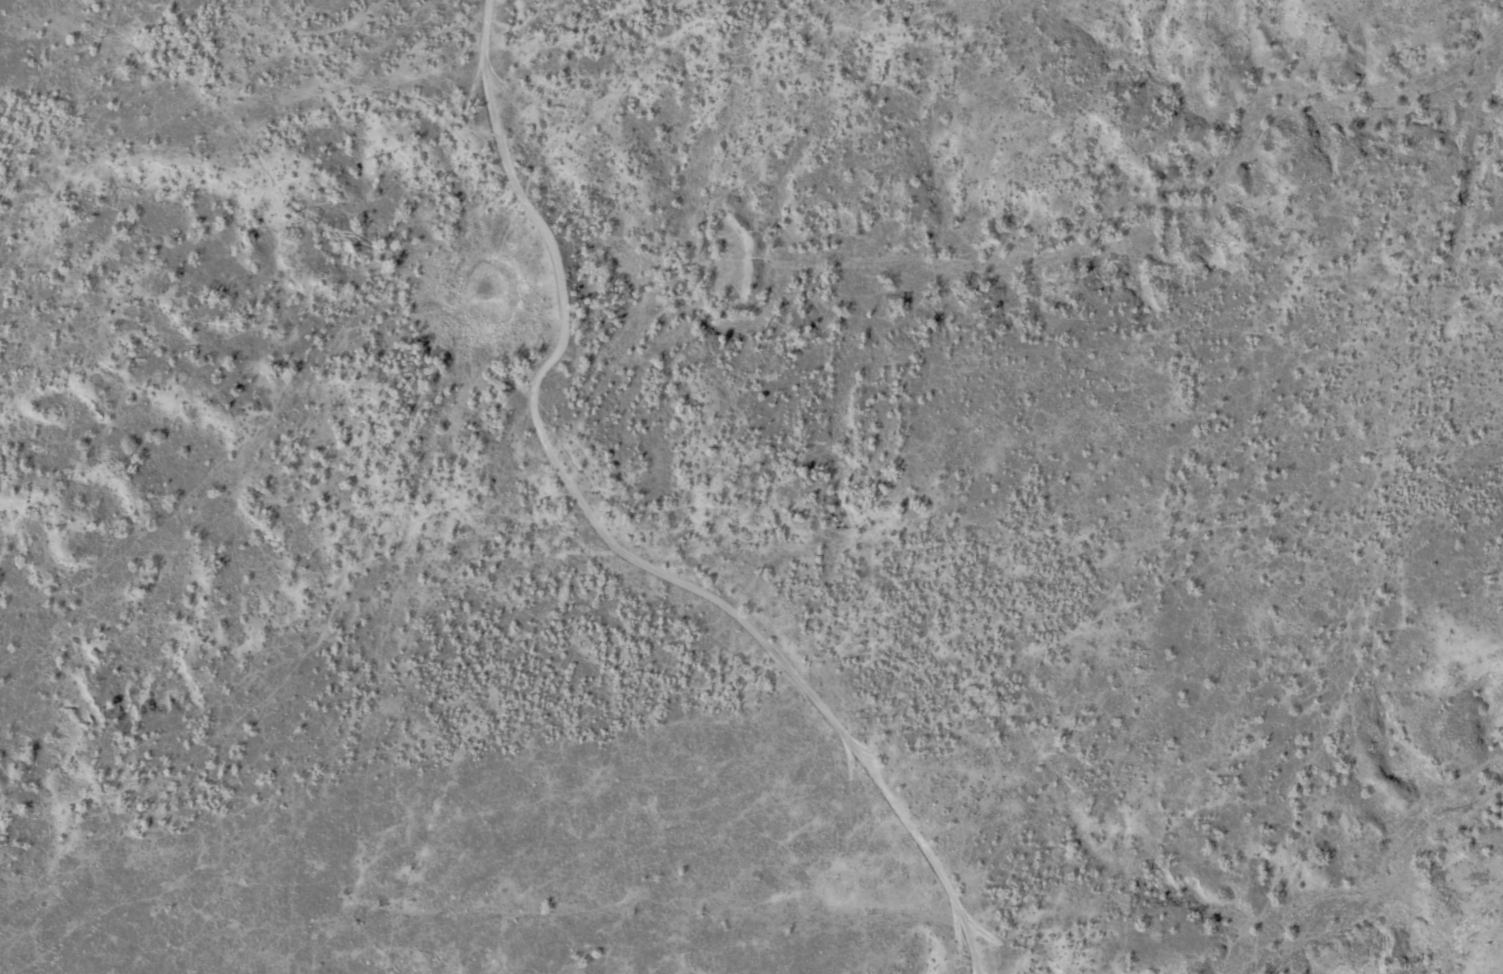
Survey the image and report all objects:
road: (1021, 434)

